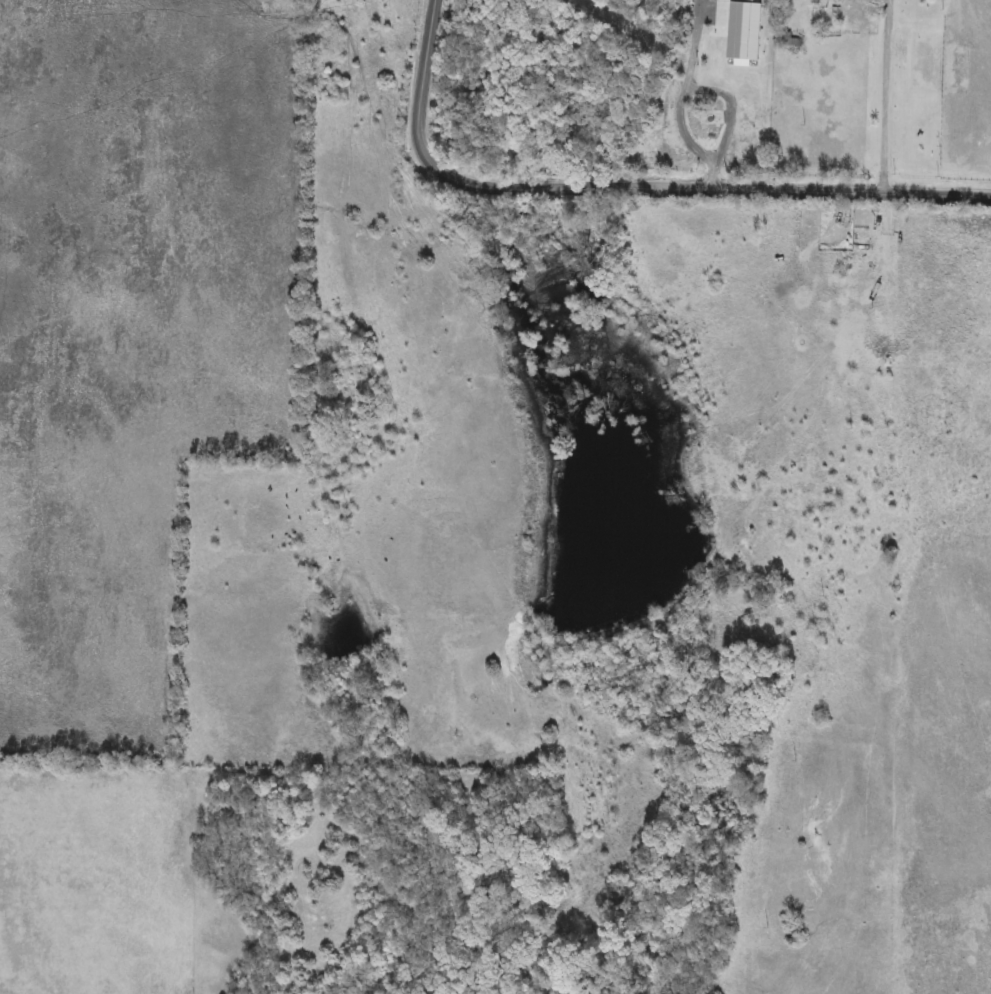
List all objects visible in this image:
building: (787, 40)
road: (715, 93)
road: (884, 97)
building: (701, 118)
road: (681, 131)
road: (624, 181)

